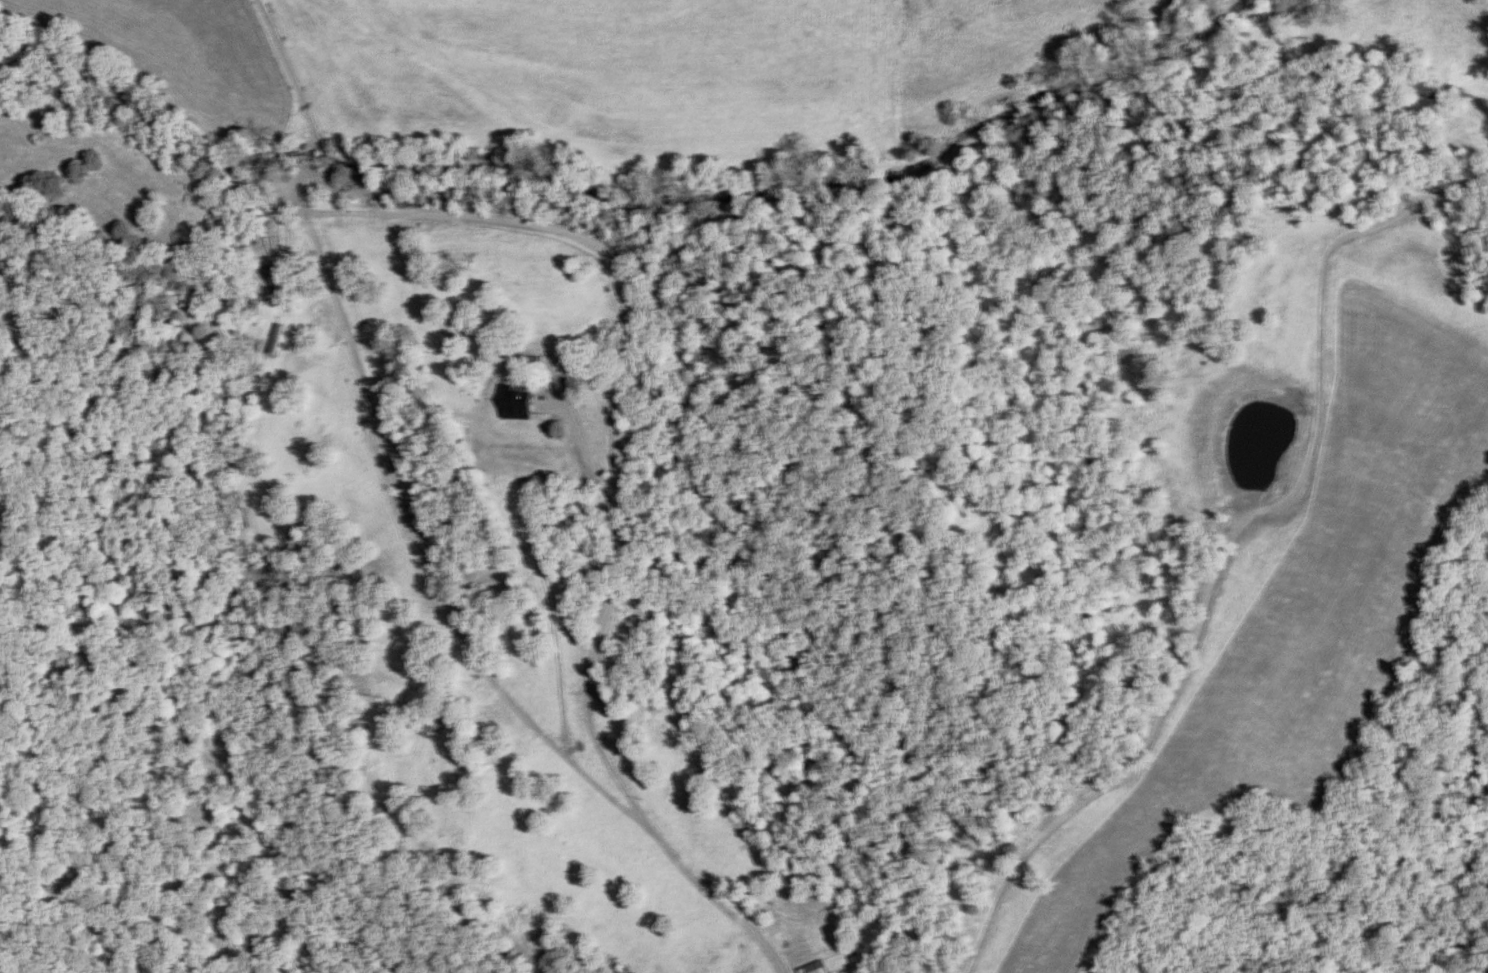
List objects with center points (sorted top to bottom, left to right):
building: (522, 360)
road: (416, 540)
road: (490, 575)
road: (545, 590)
road: (1053, 838)

